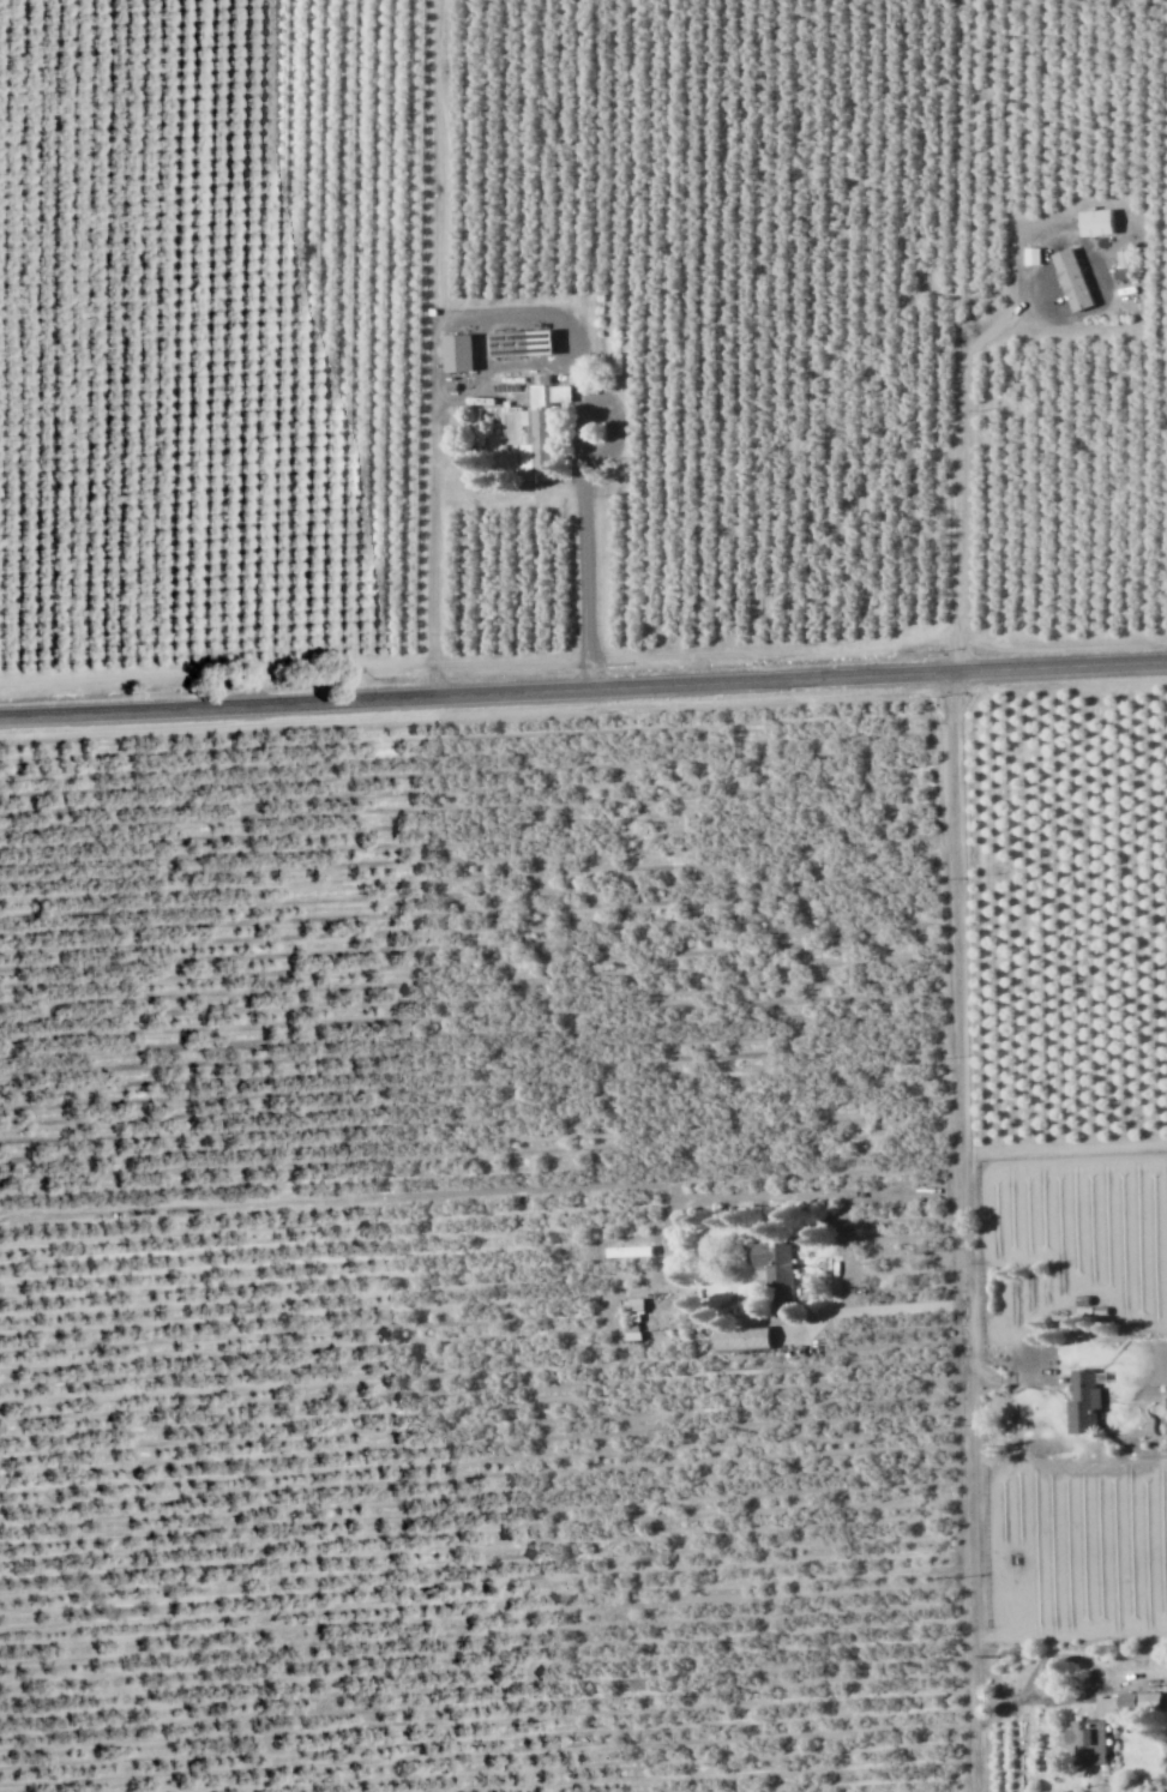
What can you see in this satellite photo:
road: (440, 160)
road: (951, 175)
building: (1093, 222)
building: (1070, 278)
road: (500, 317)
road: (479, 341)
road: (967, 351)
road: (495, 363)
building: (529, 456)
road: (509, 499)
road: (511, 659)
road: (217, 671)
road: (583, 687)
road: (1064, 1148)
road: (480, 1190)
road: (962, 1231)
building: (770, 1264)
road: (855, 1309)
building: (738, 1337)
building: (1079, 1402)
building: (1084, 1742)

